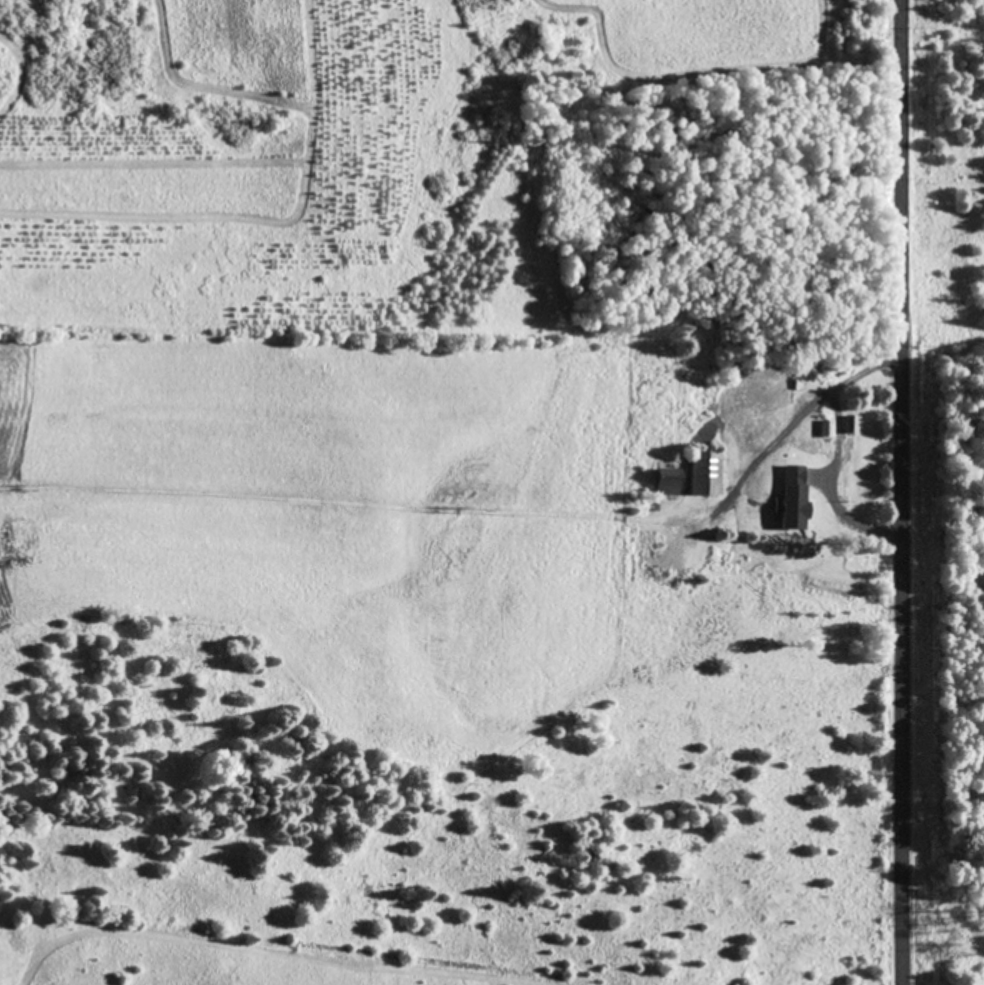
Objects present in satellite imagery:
building: (768, 391)
building: (707, 471)
building: (669, 479)
road: (880, 492)
building: (797, 504)
building: (683, 541)

